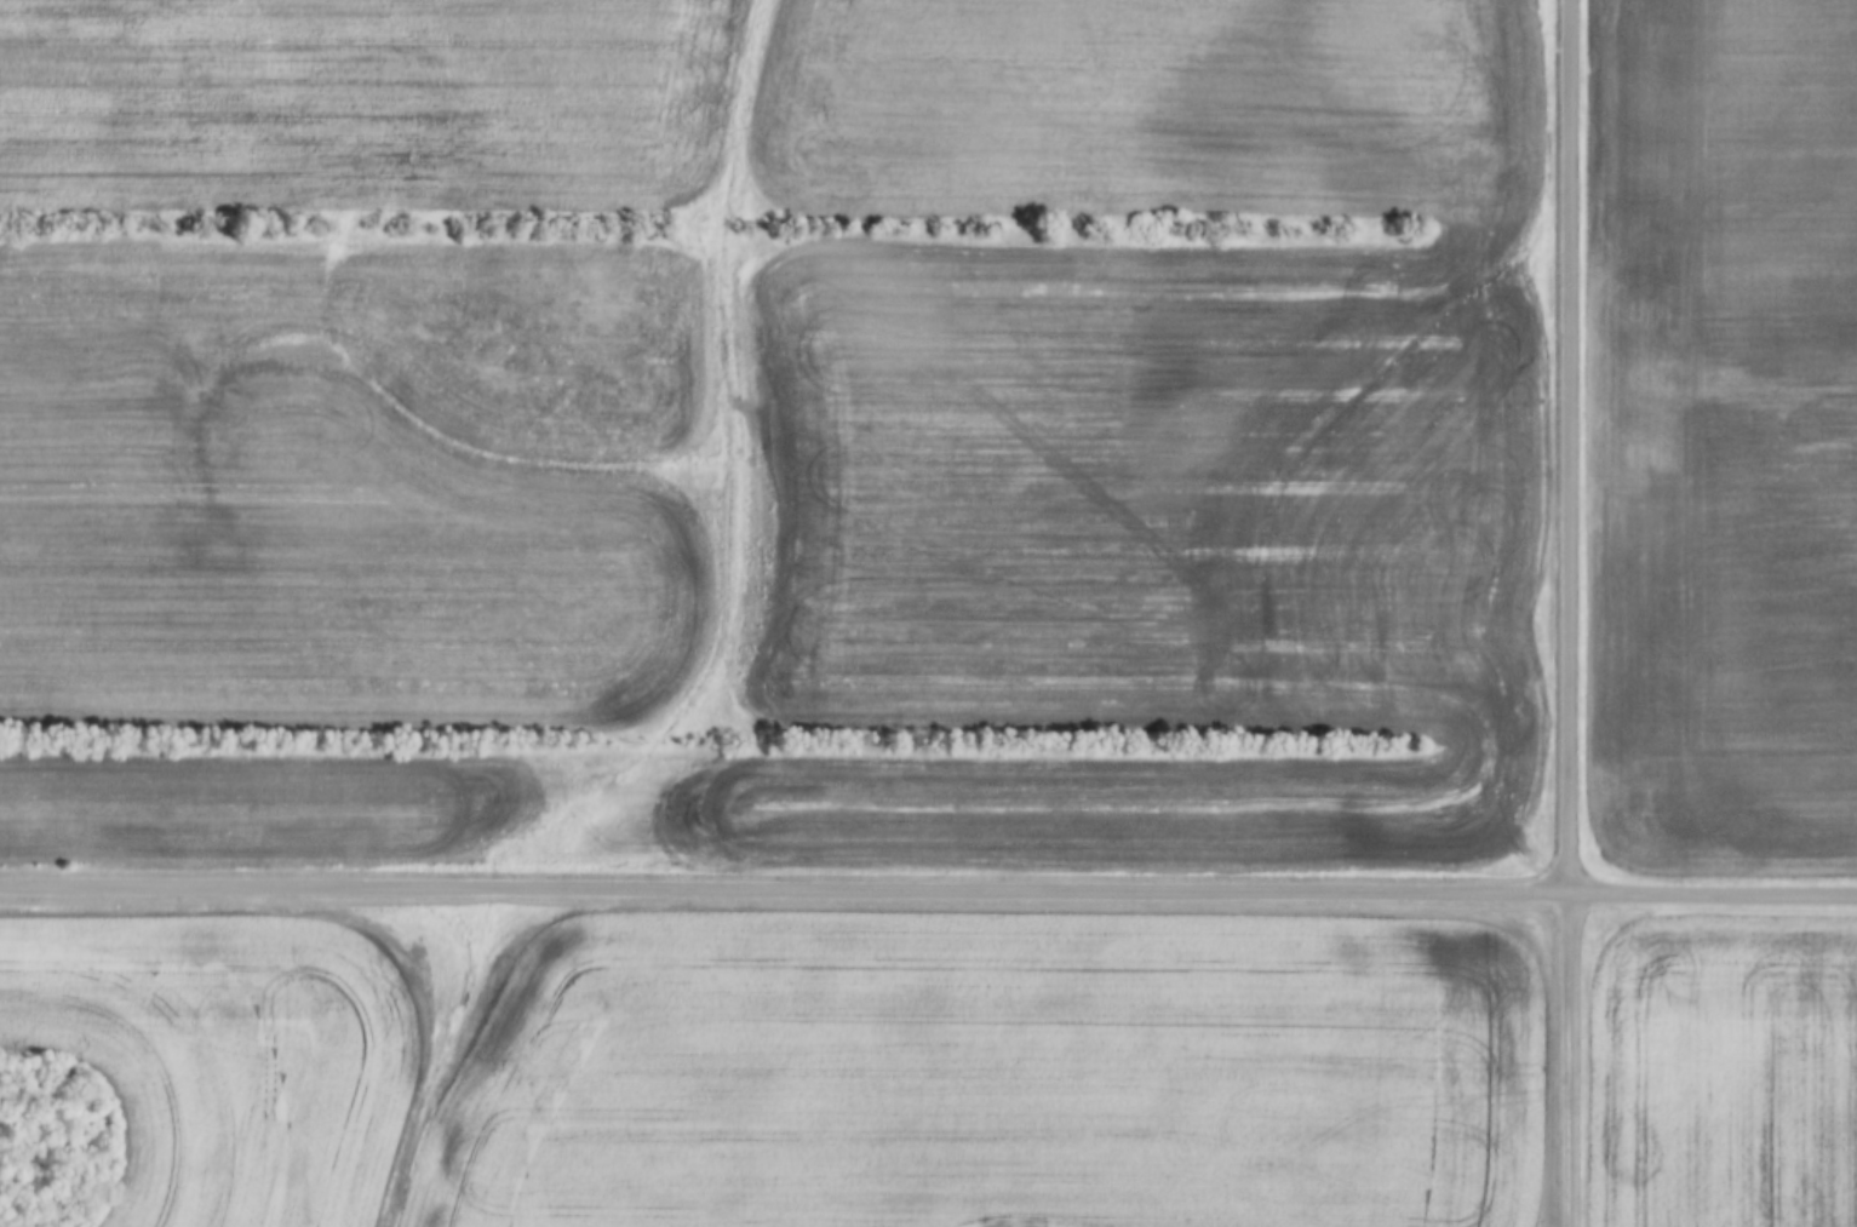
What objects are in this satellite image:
road: (1572, 448)
road: (928, 894)
road: (1571, 1061)

